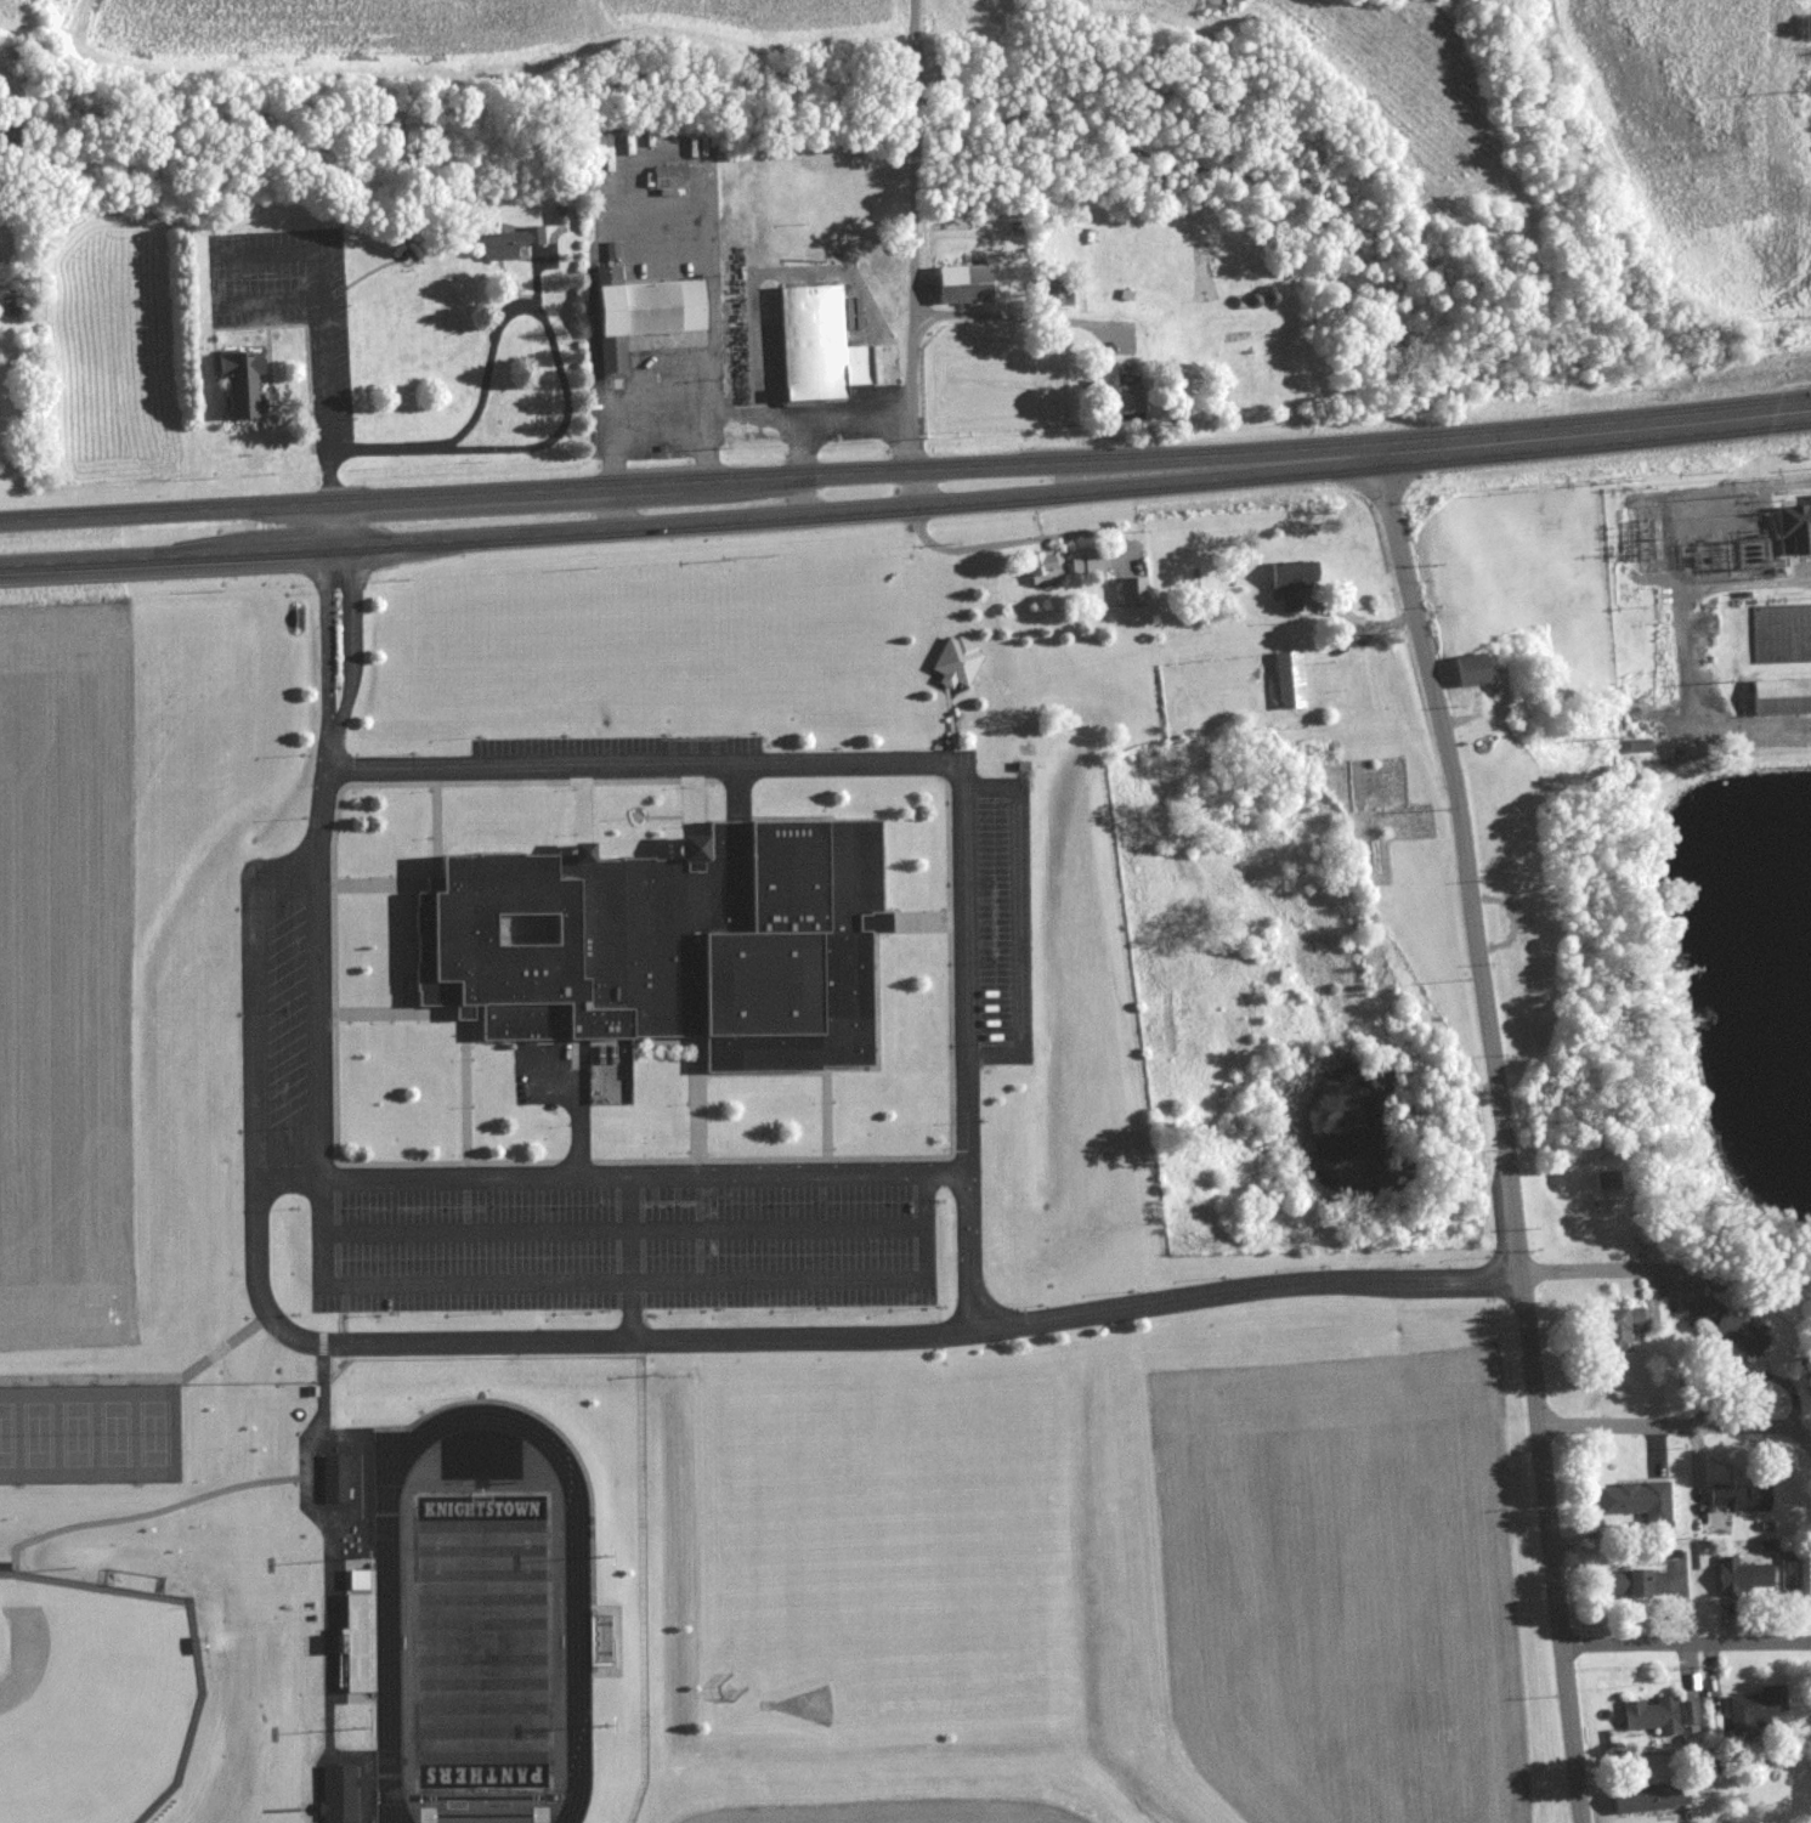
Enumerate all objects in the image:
road: (913, 40)
building: (669, 177)
road: (912, 198)
building: (508, 244)
building: (611, 250)
building: (961, 284)
building: (1041, 295)
road: (515, 308)
road: (1025, 317)
road: (324, 328)
building: (816, 344)
building: (242, 383)
road: (636, 386)
road: (912, 392)
building: (1121, 400)
road: (774, 409)
road: (855, 417)
road: (1680, 425)
road: (1464, 447)
road: (689, 482)
road: (690, 525)
building: (1794, 530)
power substation: (1724, 547)
building: (1085, 564)
building: (1040, 567)
building: (1289, 583)
building: (1130, 590)
building: (1782, 634)
road: (1686, 652)
building: (955, 663)
building: (1468, 670)
building: (1287, 681)
building: (1779, 697)
building: (1639, 747)
road: (1019, 919)
building: (672, 944)
road: (1502, 1134)
road: (819, 1170)
road: (969, 1249)
road: (627, 1256)
road: (1665, 1269)
road: (623, 1284)
building: (1618, 1327)
building: (1730, 1329)
road: (792, 1336)
road: (1676, 1425)
park: (78, 1433)
park: (117, 1433)
park: (155, 1433)
park: (7, 1434)
park: (40, 1434)
building: (339, 1479)
building: (1737, 1498)
building: (1635, 1501)
road: (326, 1556)
building: (1739, 1578)
building: (1635, 1584)
park: (483, 1641)
road: (1686, 1642)
track: (578, 1643)
building: (1755, 1709)
building: (1657, 1715)
building: (339, 1795)
building: (1646, 1797)

